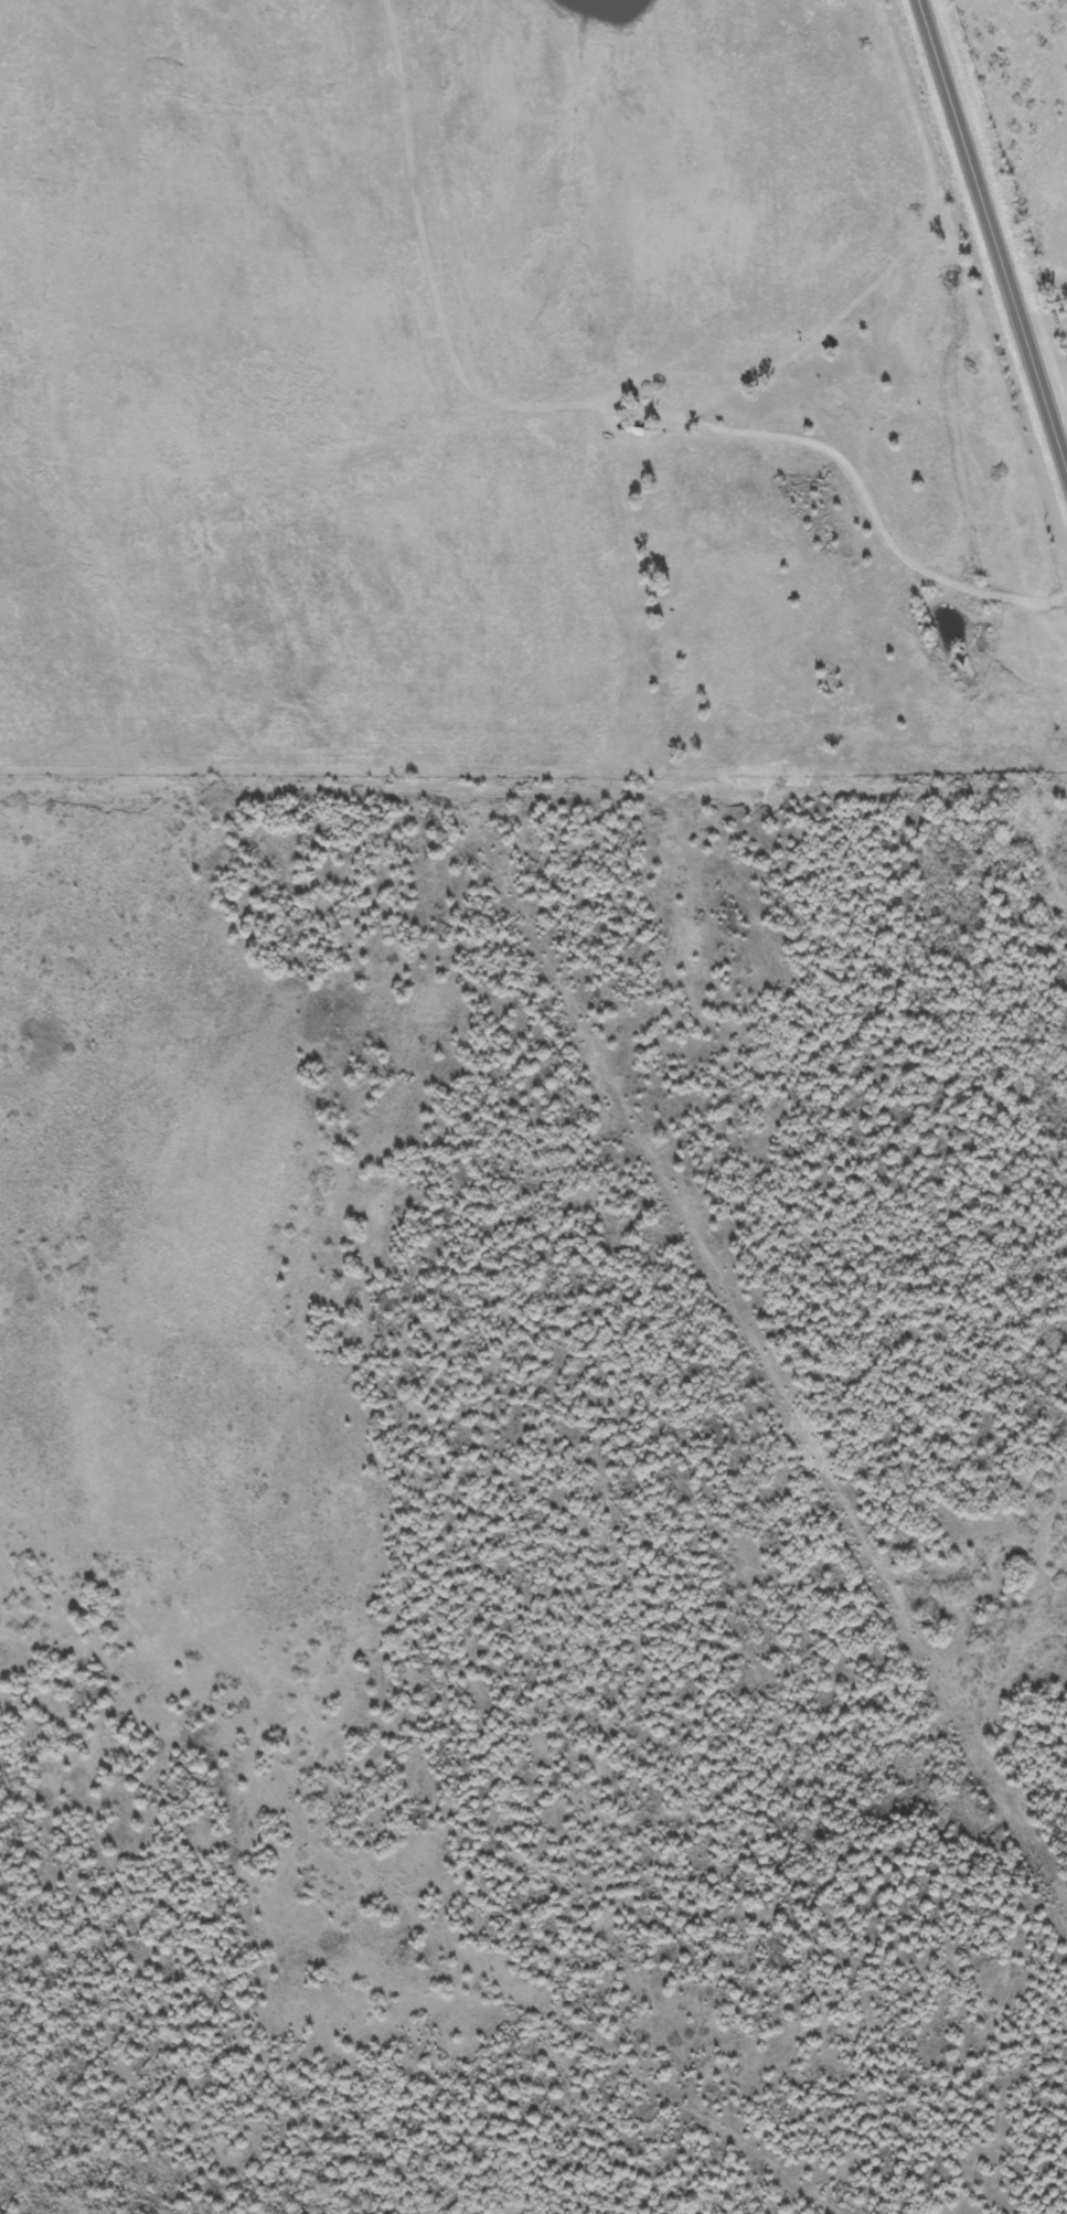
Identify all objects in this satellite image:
road: (991, 230)

